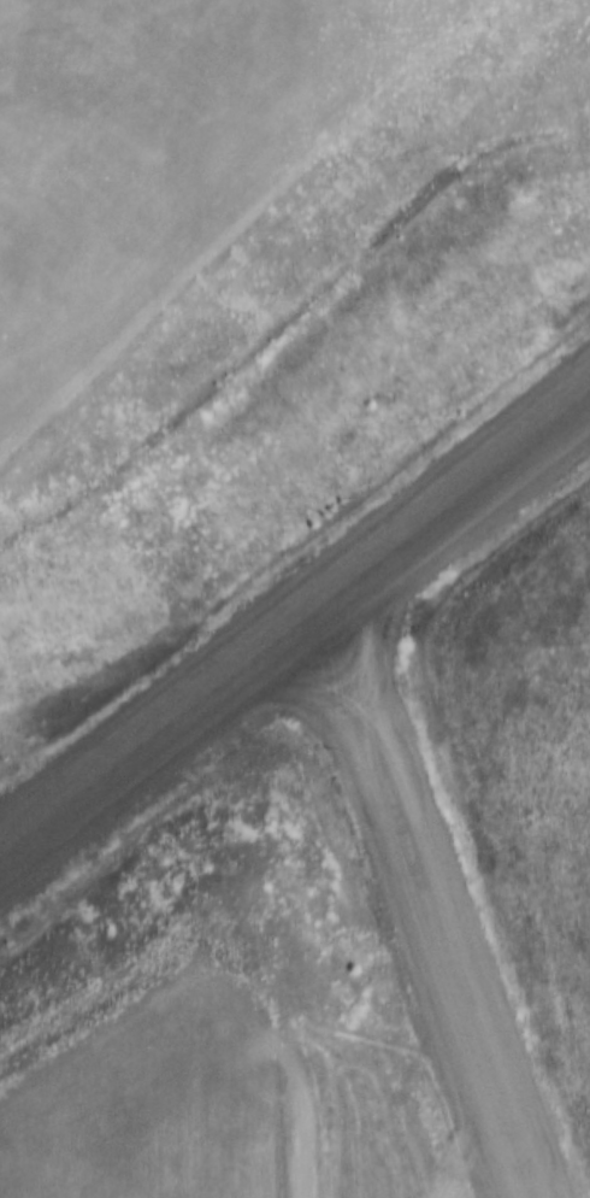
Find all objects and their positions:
quarry: (295, 599)

